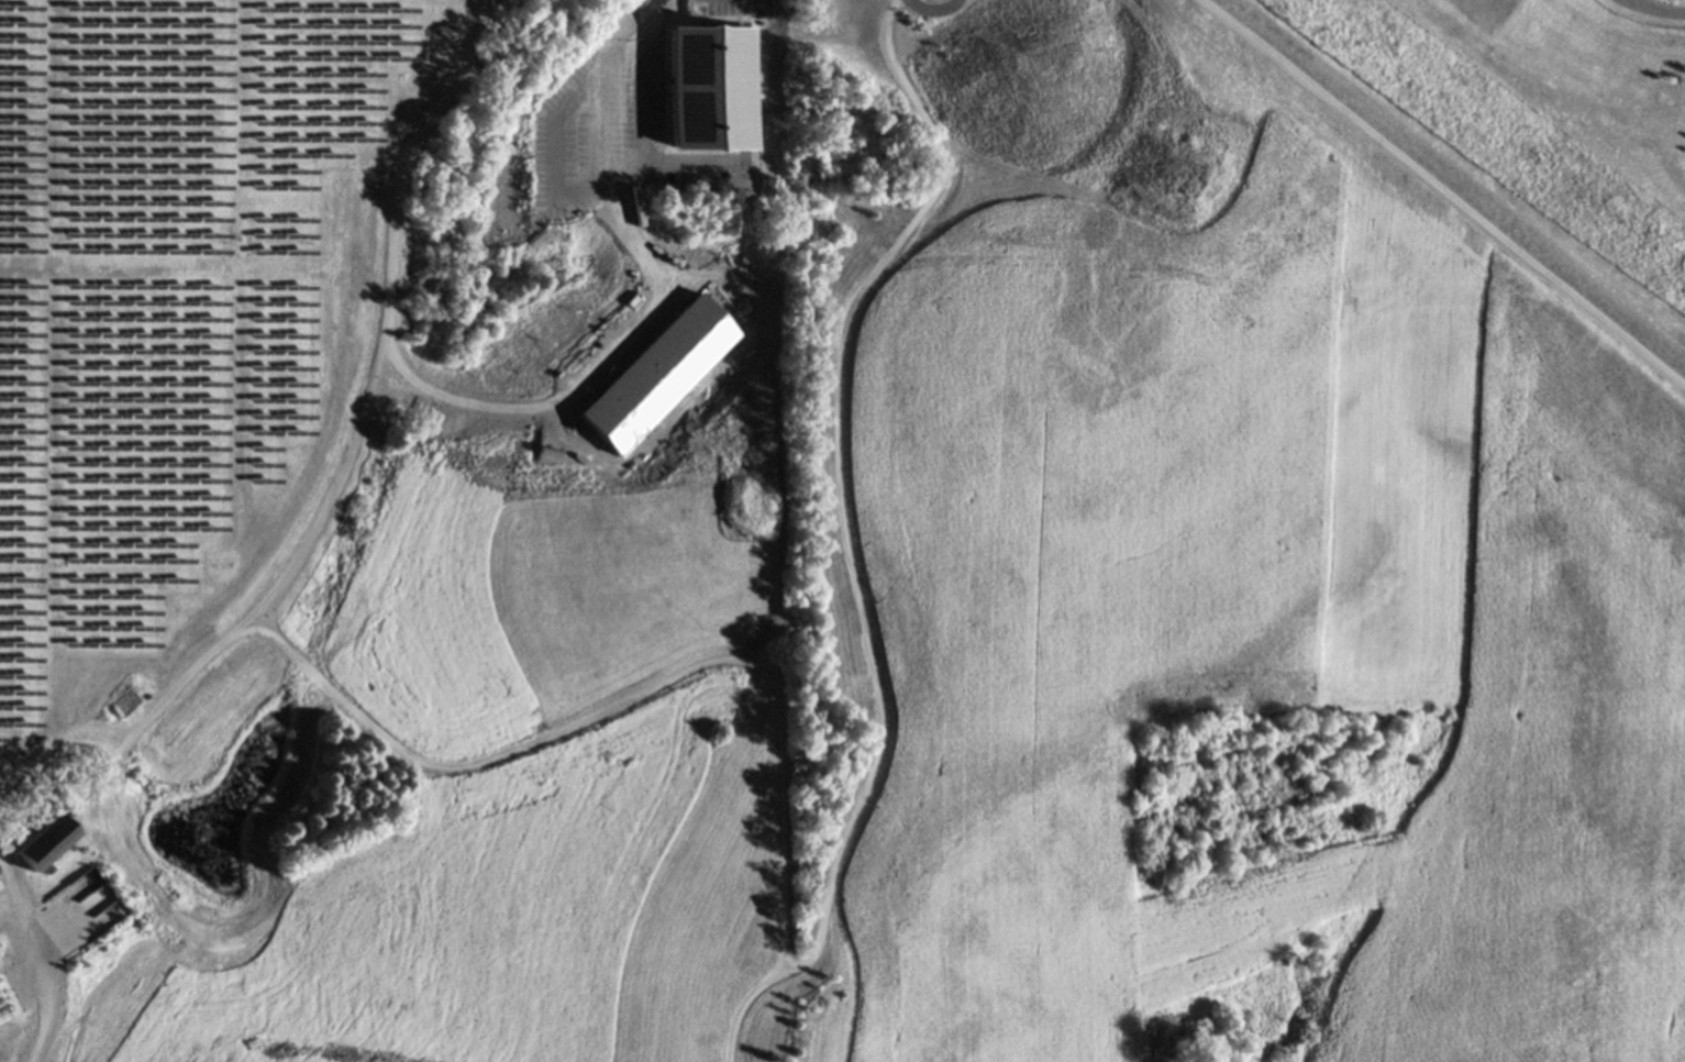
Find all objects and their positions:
road: (1665, 4)
road: (934, 9)
road: (655, 10)
building: (714, 87)
road: (1344, 109)
road: (598, 125)
road: (653, 163)
road: (709, 164)
road: (697, 188)
road: (564, 191)
road: (899, 257)
solar farm: (162, 299)
building: (1232, 372)
building: (1148, 403)
road: (332, 700)
building: (45, 847)
building: (1, 874)
road: (12, 905)

